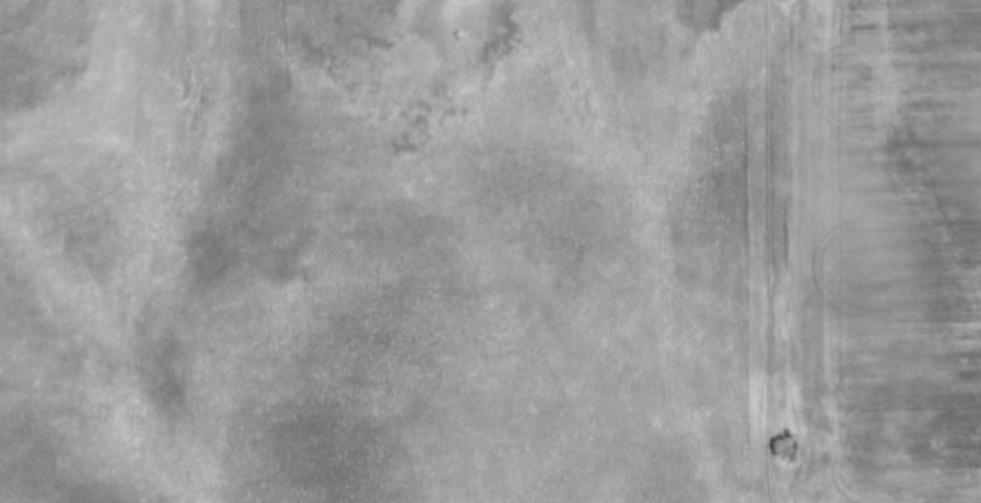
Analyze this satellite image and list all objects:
road: (773, 251)

